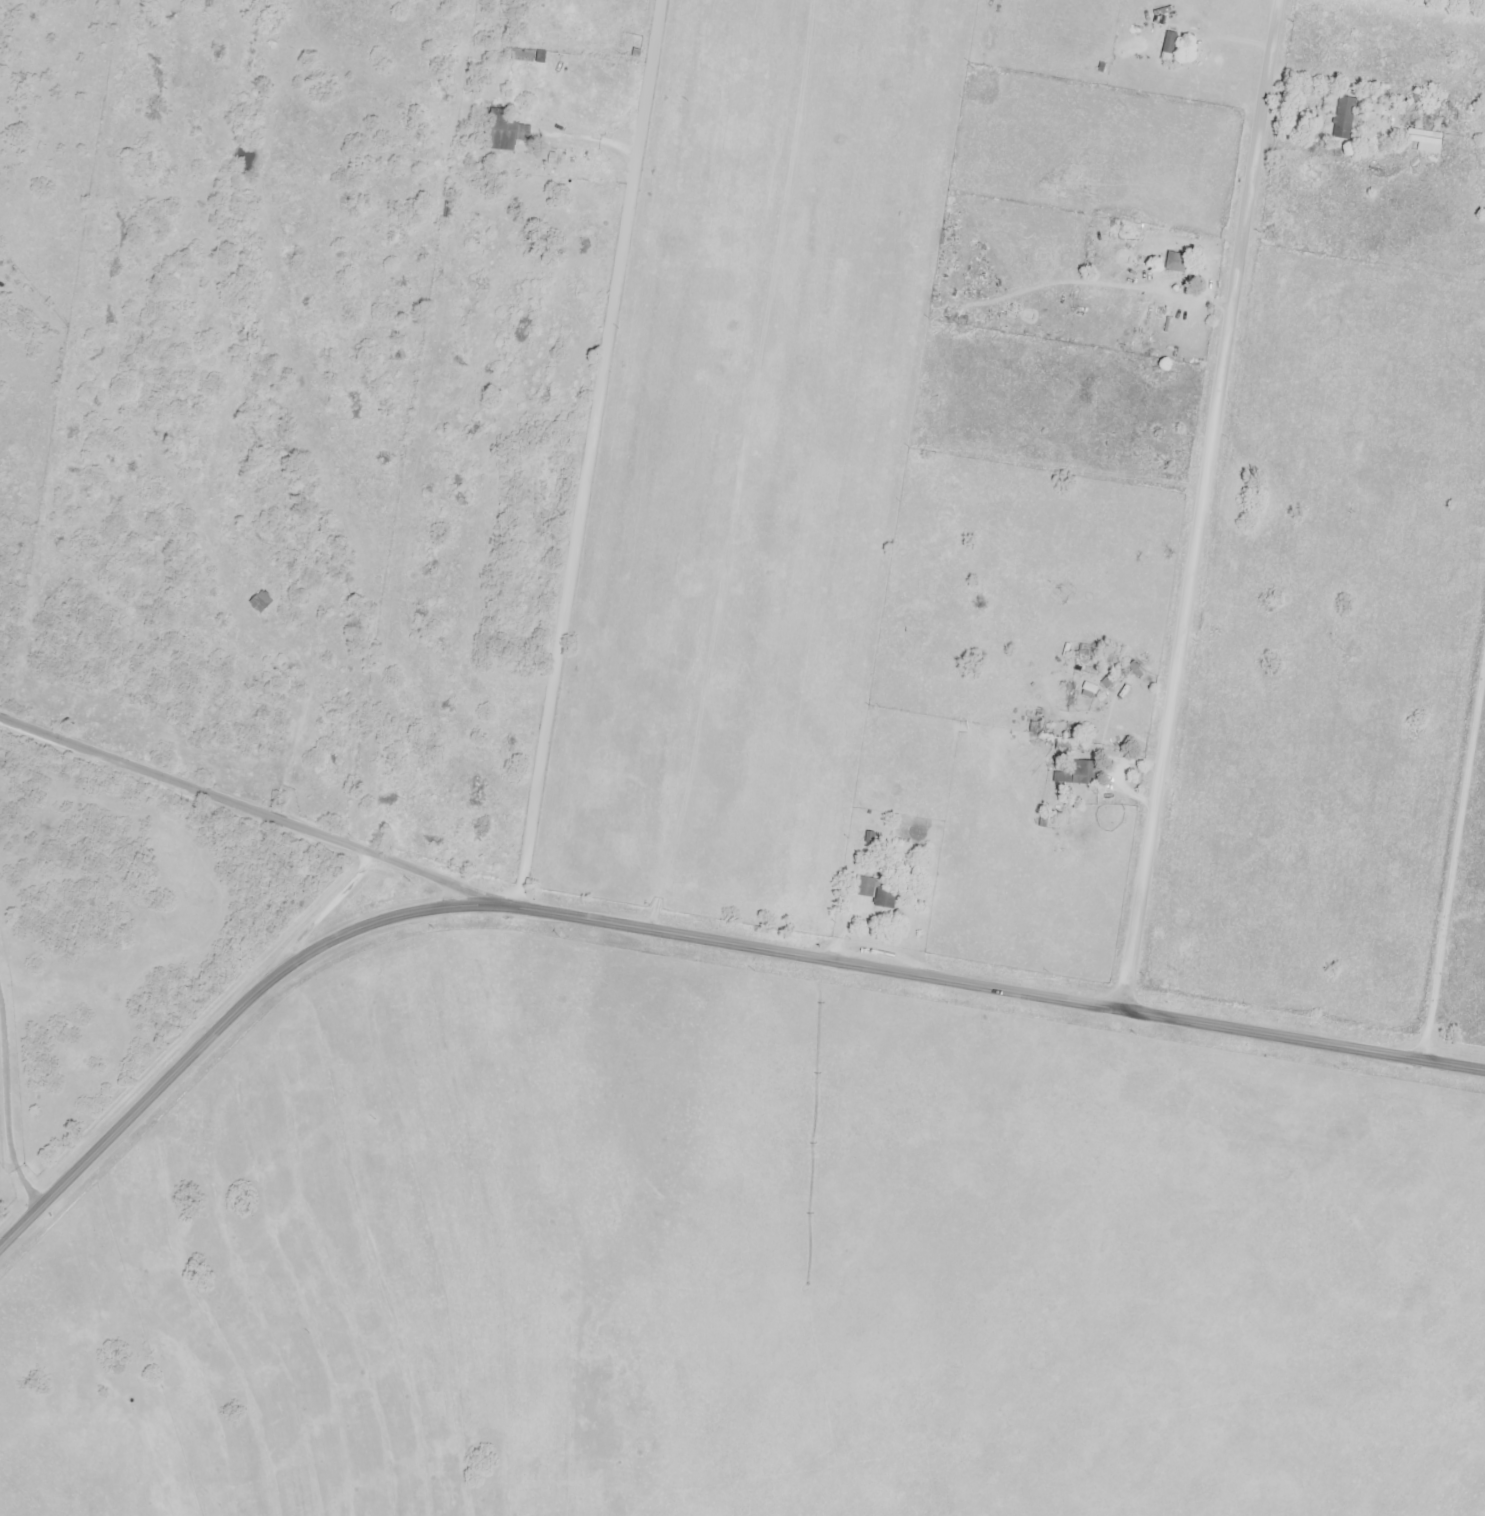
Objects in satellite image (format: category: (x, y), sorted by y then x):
building: (1168, 47)
building: (526, 56)
building: (1343, 118)
building: (506, 131)
building: (1176, 263)
building: (0, 303)
road: (585, 454)
road: (740, 466)
road: (1200, 505)
building: (261, 603)
building: (1135, 670)
building: (1085, 774)
building: (1061, 778)
road: (246, 808)
building: (878, 894)
road: (683, 935)

